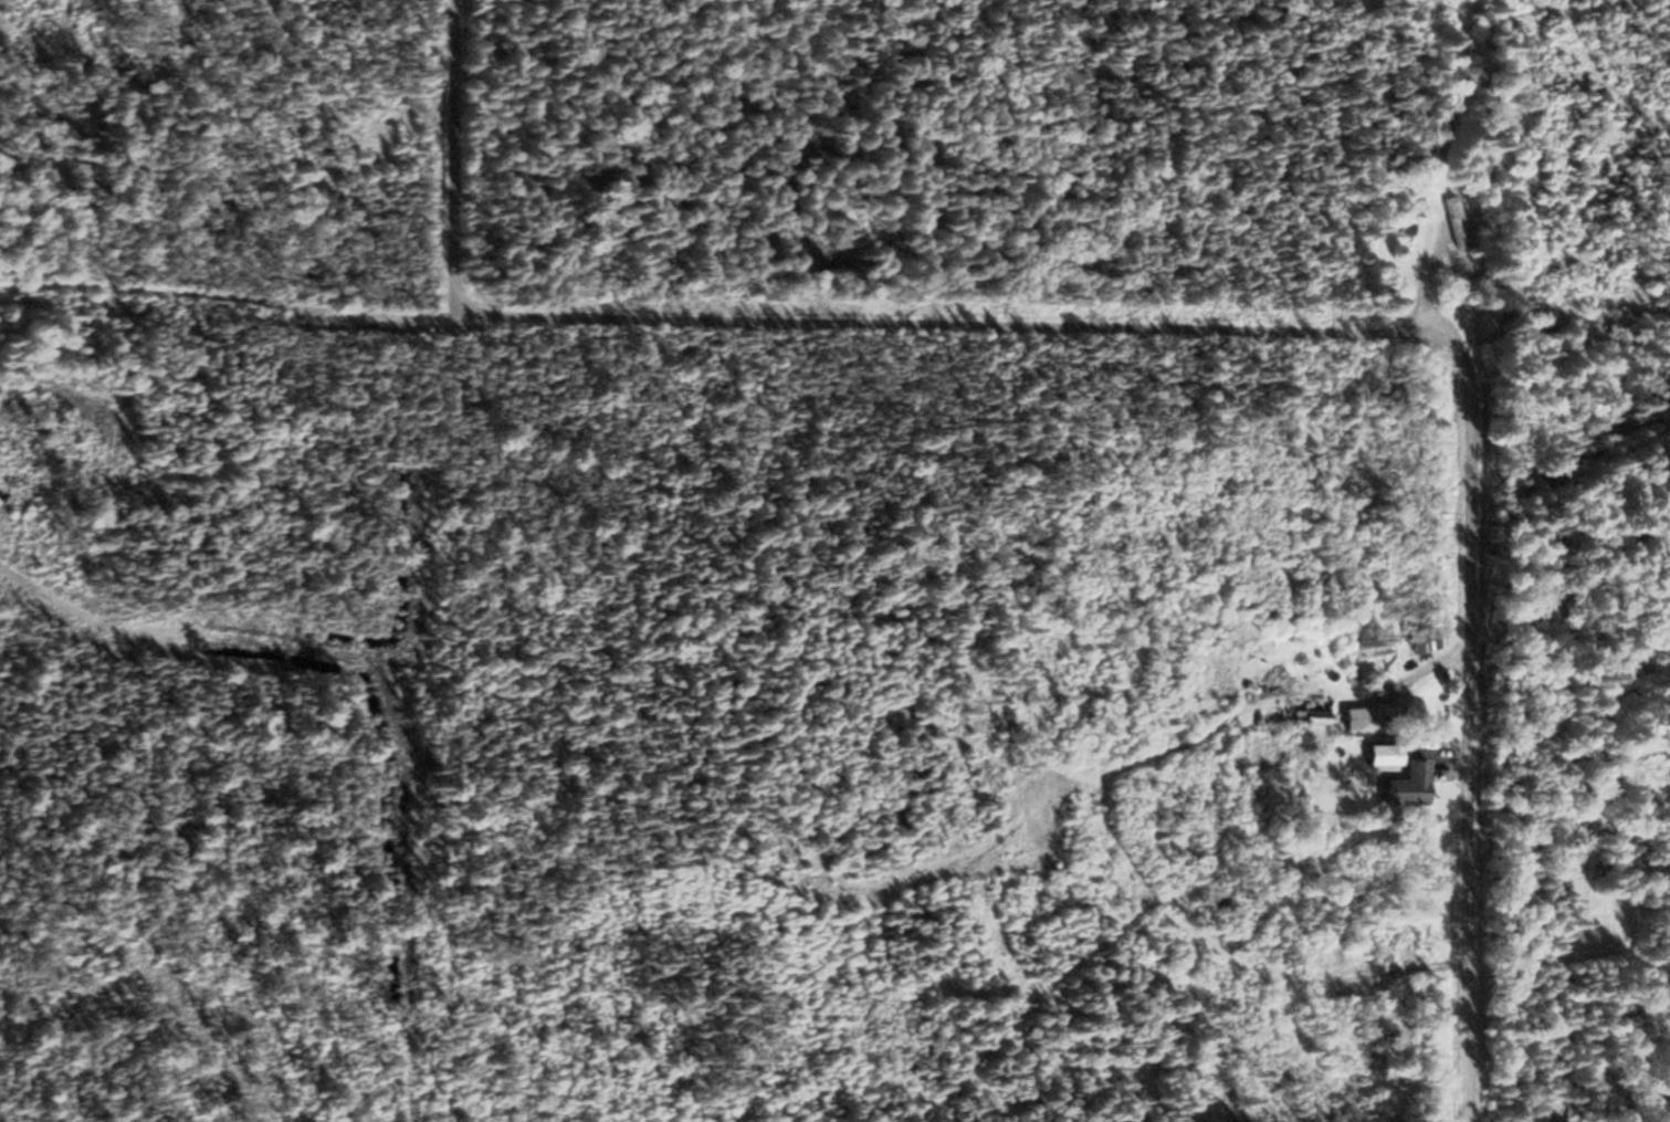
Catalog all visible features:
building: (1450, 220)
building: (1408, 223)
building: (1458, 265)
road: (1198, 329)
building: (1412, 639)
building: (1359, 716)
building: (1372, 753)
building: (1399, 784)

